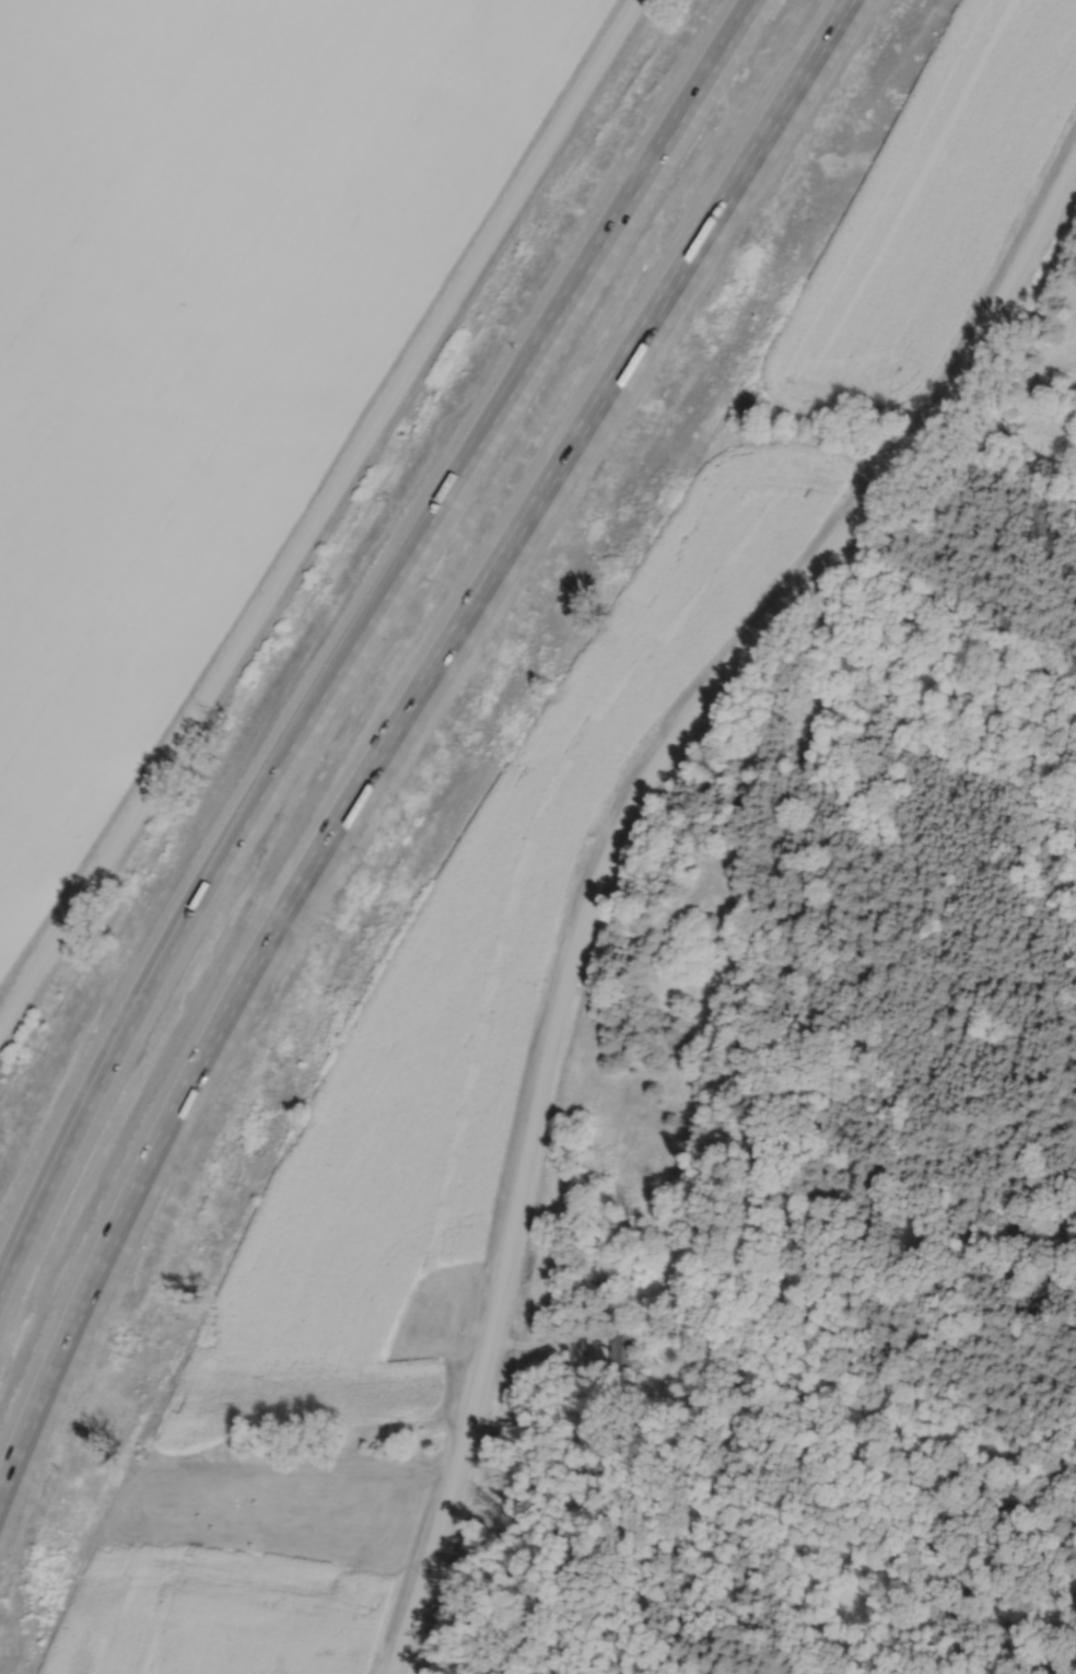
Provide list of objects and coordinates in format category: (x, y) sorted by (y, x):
road: (318, 516)
road: (962, 611)
road: (353, 644)
building: (445, 675)
road: (398, 758)
road: (607, 858)
building: (619, 1344)

